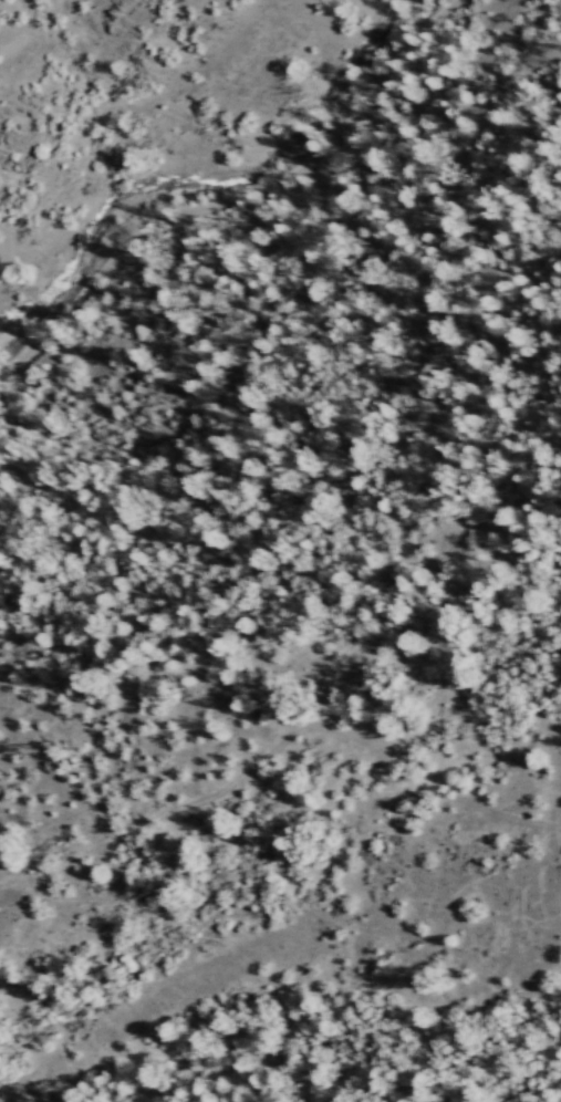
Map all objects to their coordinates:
road: (272, 169)

